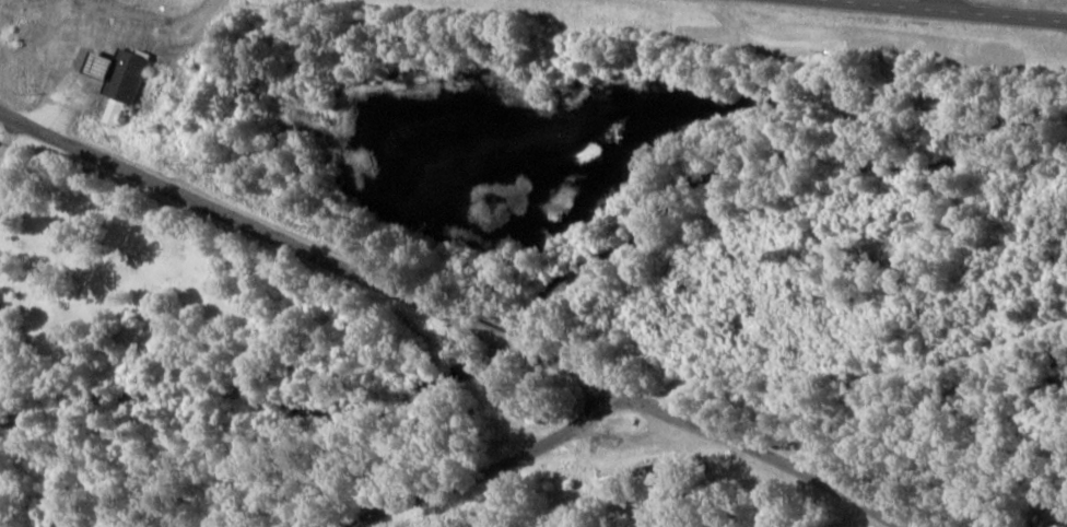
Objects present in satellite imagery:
road: (933, 4)
road: (951, 10)
building: (124, 79)
building: (1, 315)
road: (450, 316)
road: (491, 469)

